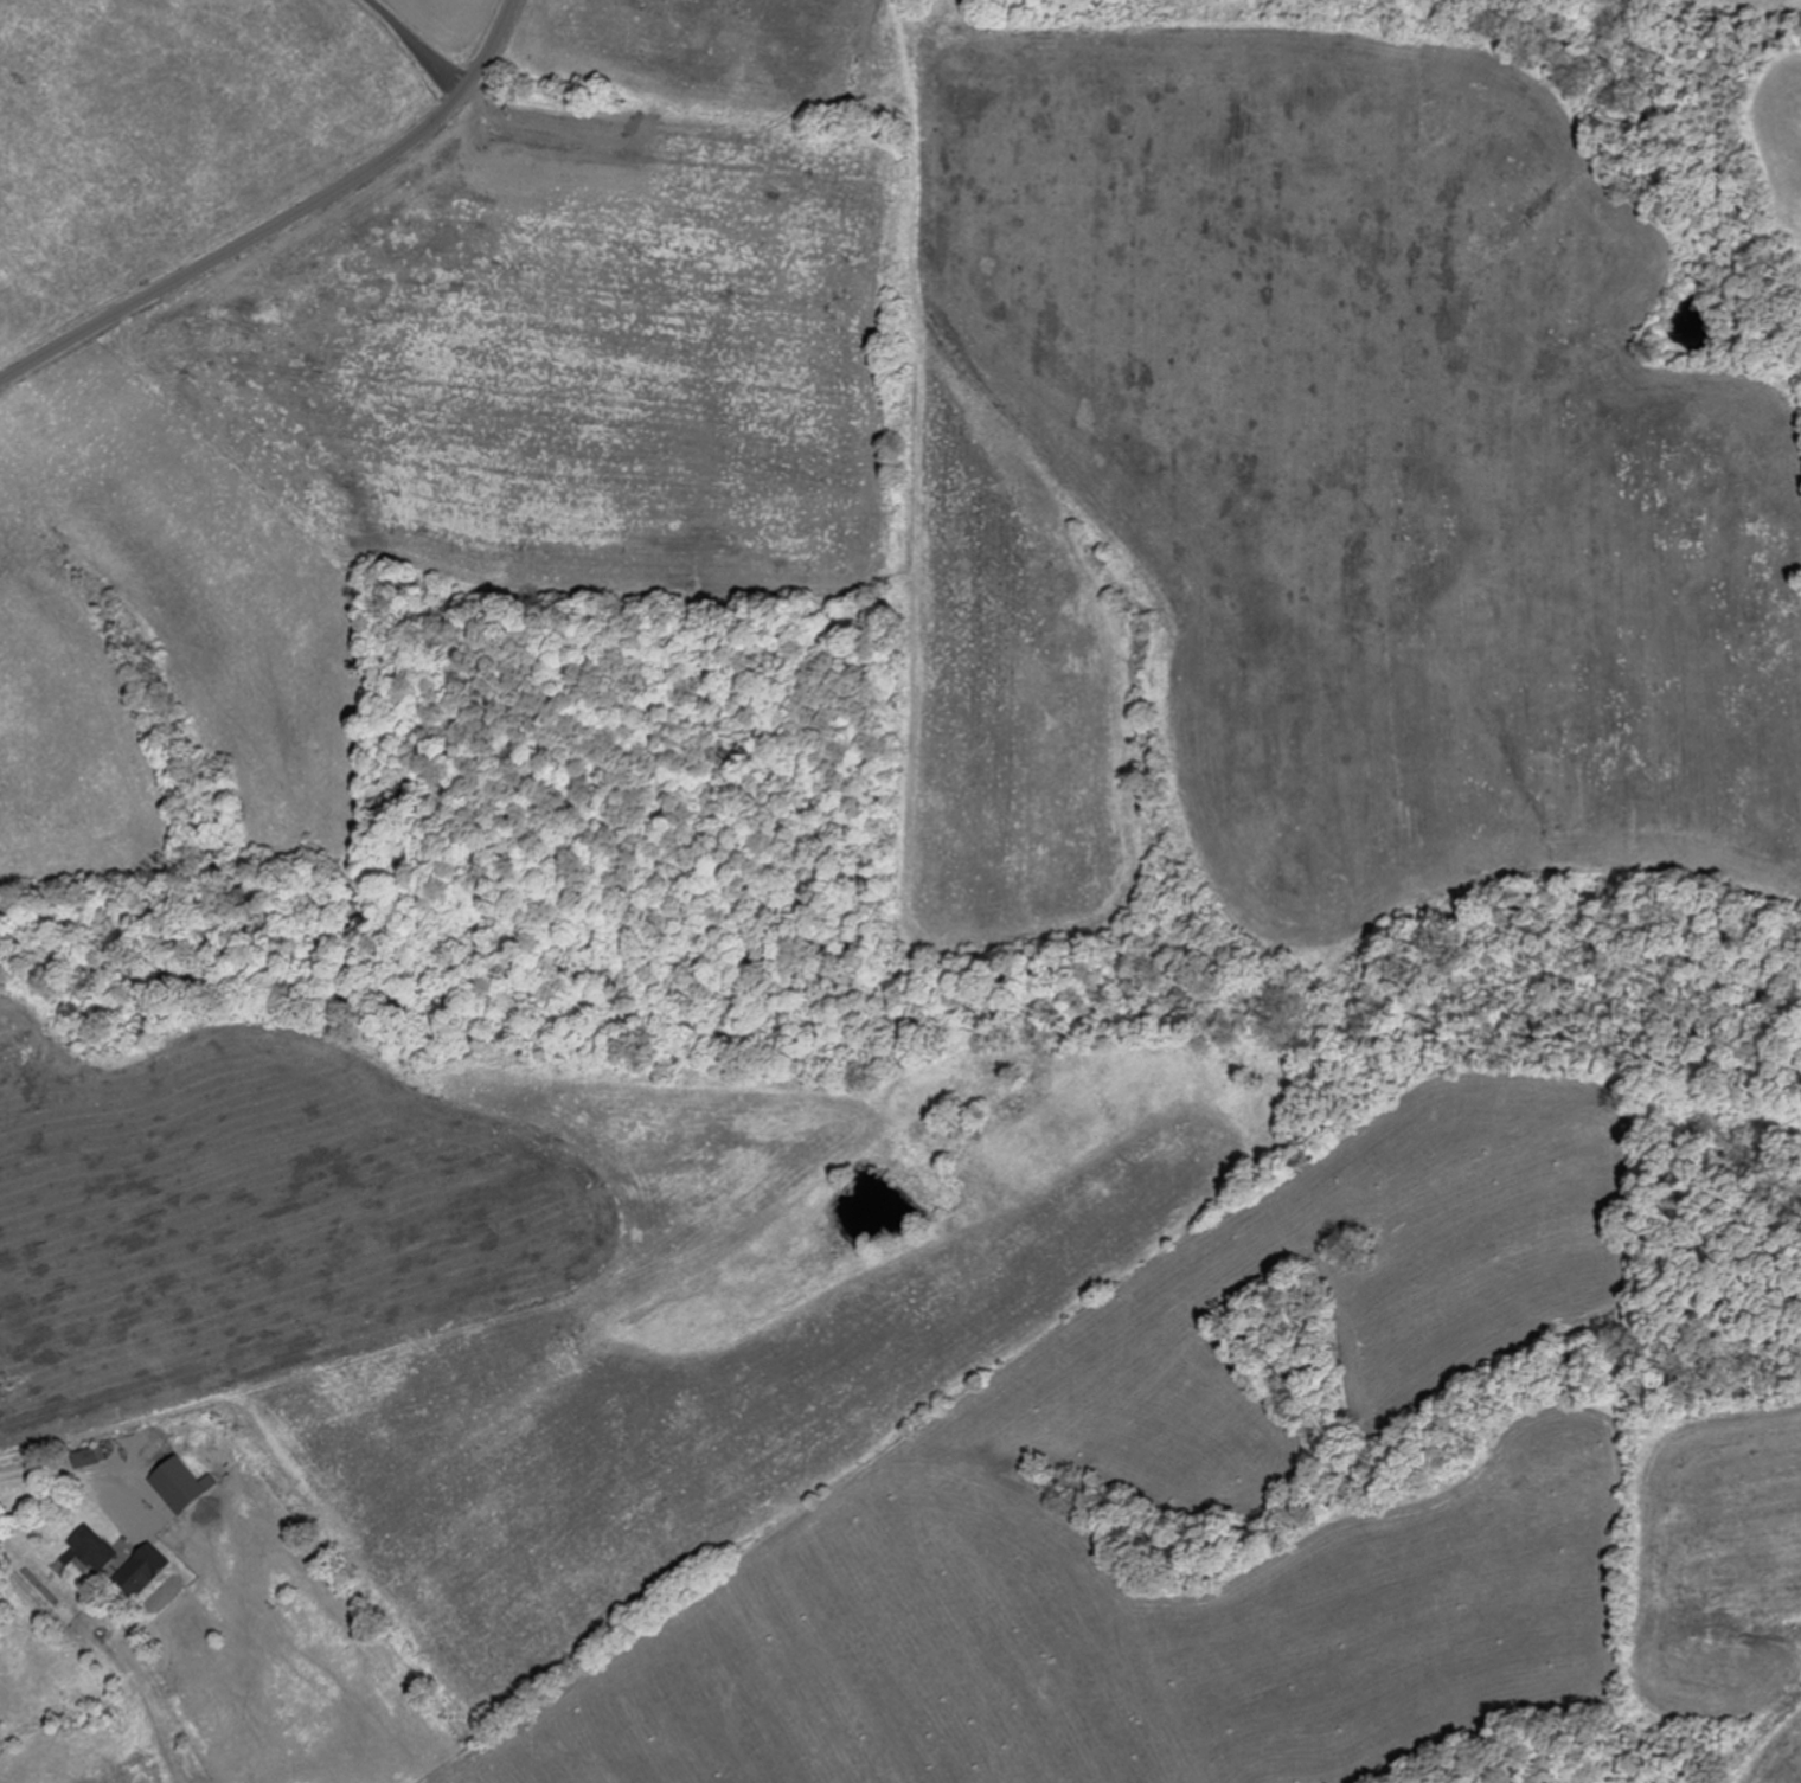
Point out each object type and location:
road: (851, 12)
road: (264, 85)
road: (284, 219)
building: (88, 1458)
building: (96, 1550)
building: (194, 1629)

